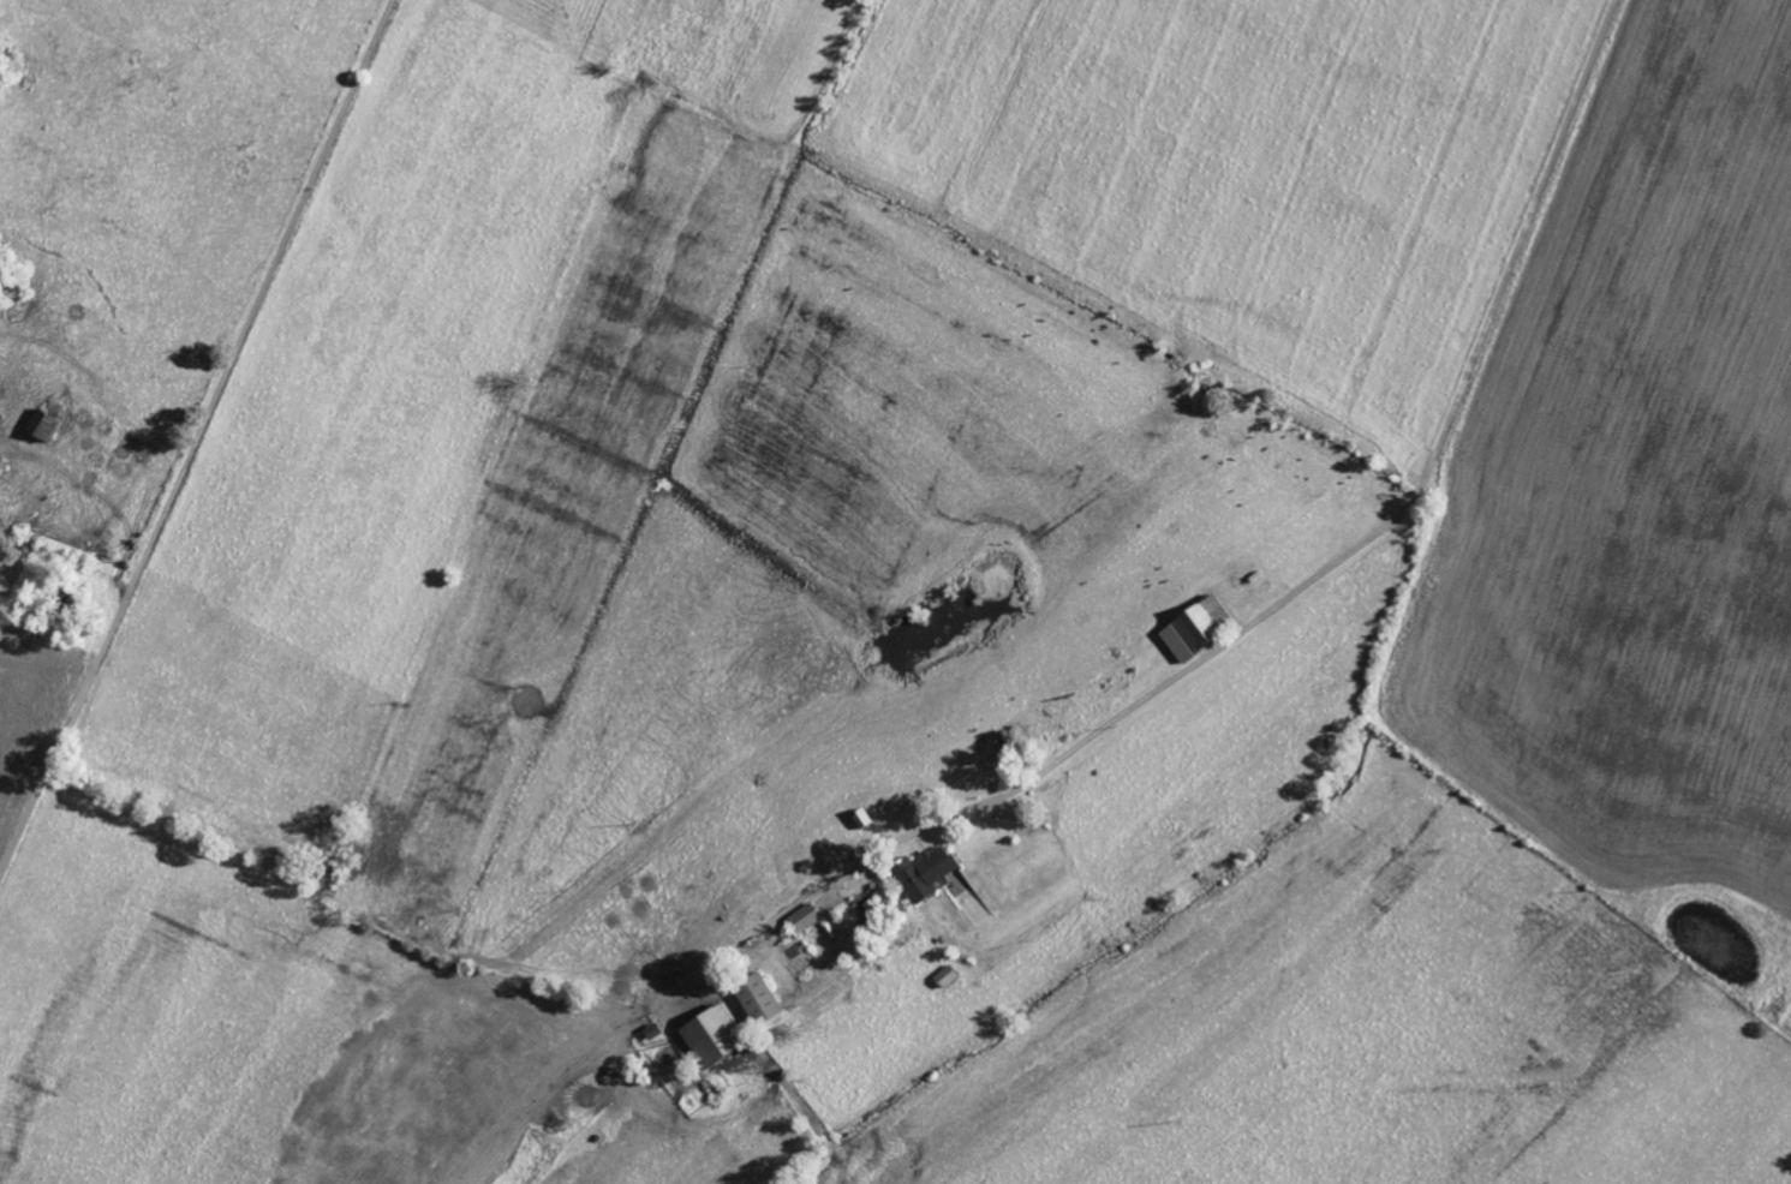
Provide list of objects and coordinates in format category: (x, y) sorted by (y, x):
road: (1516, 246)
building: (46, 425)
road: (198, 438)
road: (1415, 495)
building: (1200, 629)
road: (1071, 751)
building: (930, 873)
building: (808, 920)
building: (949, 977)
building: (763, 1000)
building: (718, 1038)

